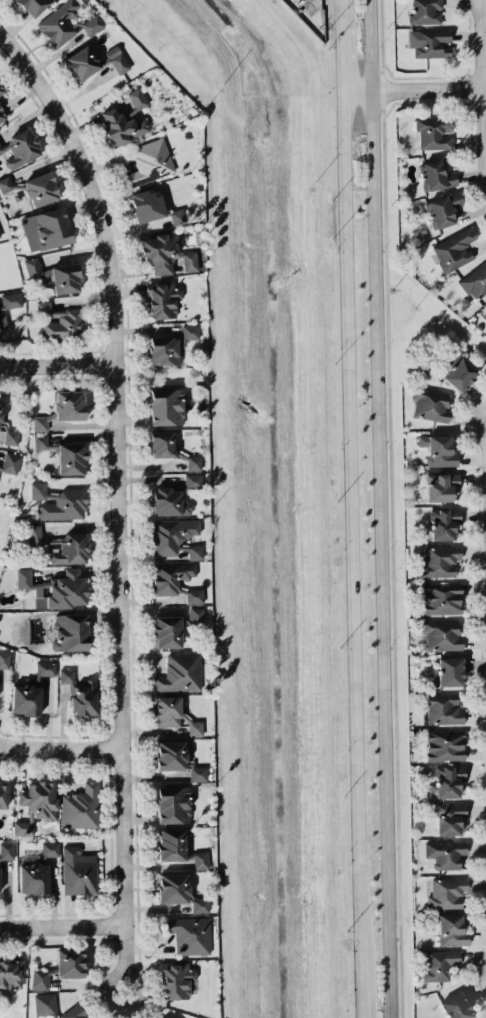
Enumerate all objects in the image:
building: (32, 6)
building: (425, 12)
building: (59, 23)
building: (92, 24)
building: (432, 43)
building: (117, 59)
building: (82, 62)
road: (483, 78)
road: (413, 88)
building: (1, 89)
building: (137, 98)
building: (2, 115)
building: (121, 126)
building: (433, 132)
building: (20, 148)
building: (149, 162)
building: (436, 175)
building: (5, 184)
building: (40, 188)
building: (147, 205)
building: (442, 209)
building: (177, 216)
building: (45, 229)
building: (0, 239)
building: (454, 249)
building: (159, 252)
building: (189, 261)
building: (55, 275)
building: (475, 280)
building: (163, 300)
building: (8, 304)
building: (484, 314)
building: (59, 321)
building: (188, 332)
building: (163, 350)
road: (58, 366)
building: (460, 374)
building: (430, 403)
building: (68, 404)
building: (166, 406)
building: (0, 409)
building: (40, 423)
road: (476, 423)
building: (40, 440)
building: (161, 444)
building: (438, 449)
building: (71, 458)
building: (10, 462)
building: (193, 462)
building: (0, 464)
road: (351, 477)
building: (192, 479)
building: (440, 486)
road: (119, 497)
building: (59, 502)
building: (168, 502)
road: (382, 509)
building: (443, 523)
building: (37, 535)
building: (174, 536)
building: (70, 549)
building: (439, 560)
building: (170, 576)
building: (55, 588)
building: (194, 595)
building: (441, 597)
building: (195, 614)
building: (70, 631)
building: (167, 631)
building: (441, 634)
building: (4, 659)
building: (449, 671)
building: (179, 672)
building: (66, 674)
building: (30, 690)
building: (83, 697)
building: (442, 708)
building: (174, 714)
building: (444, 744)
road: (61, 749)
building: (177, 759)
building: (446, 781)
building: (3, 795)
building: (39, 799)
building: (173, 804)
building: (80, 807)
building: (449, 818)
building: (23, 827)
building: (171, 844)
building: (49, 848)
building: (6, 850)
building: (445, 853)
building: (198, 859)
building: (78, 870)
building: (32, 878)
building: (179, 891)
building: (446, 892)
road: (62, 927)
building: (451, 929)
building: (188, 934)
building: (70, 962)
building: (439, 964)
building: (10, 976)
building: (39, 978)
building: (176, 979)
road: (362, 987)
building: (44, 1004)
building: (456, 1006)
building: (73, 1012)
building: (170, 1017)

